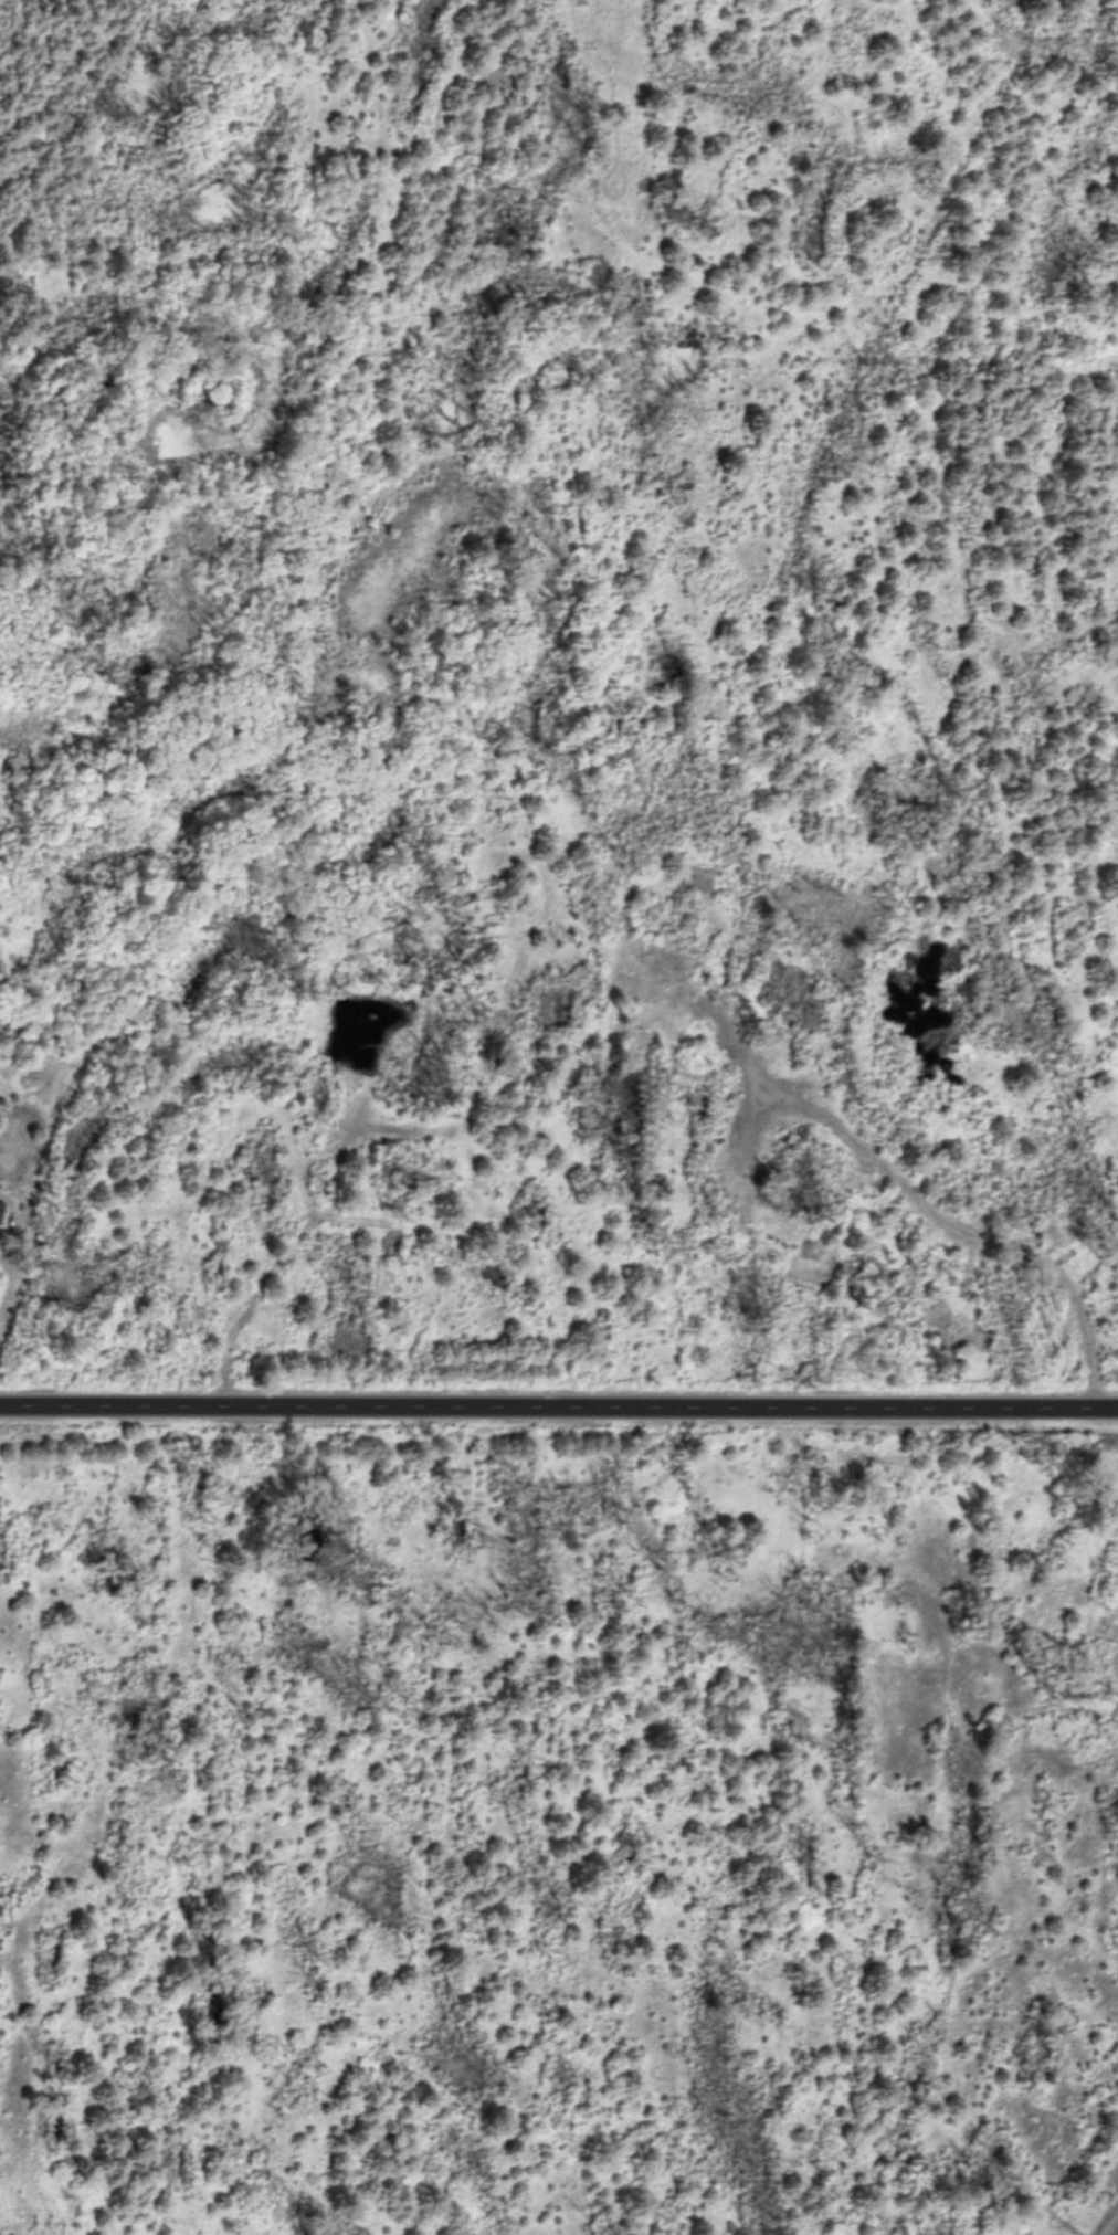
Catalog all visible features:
building: (22, 1107)
building: (11, 1180)
road: (956, 1232)
road: (559, 1395)

